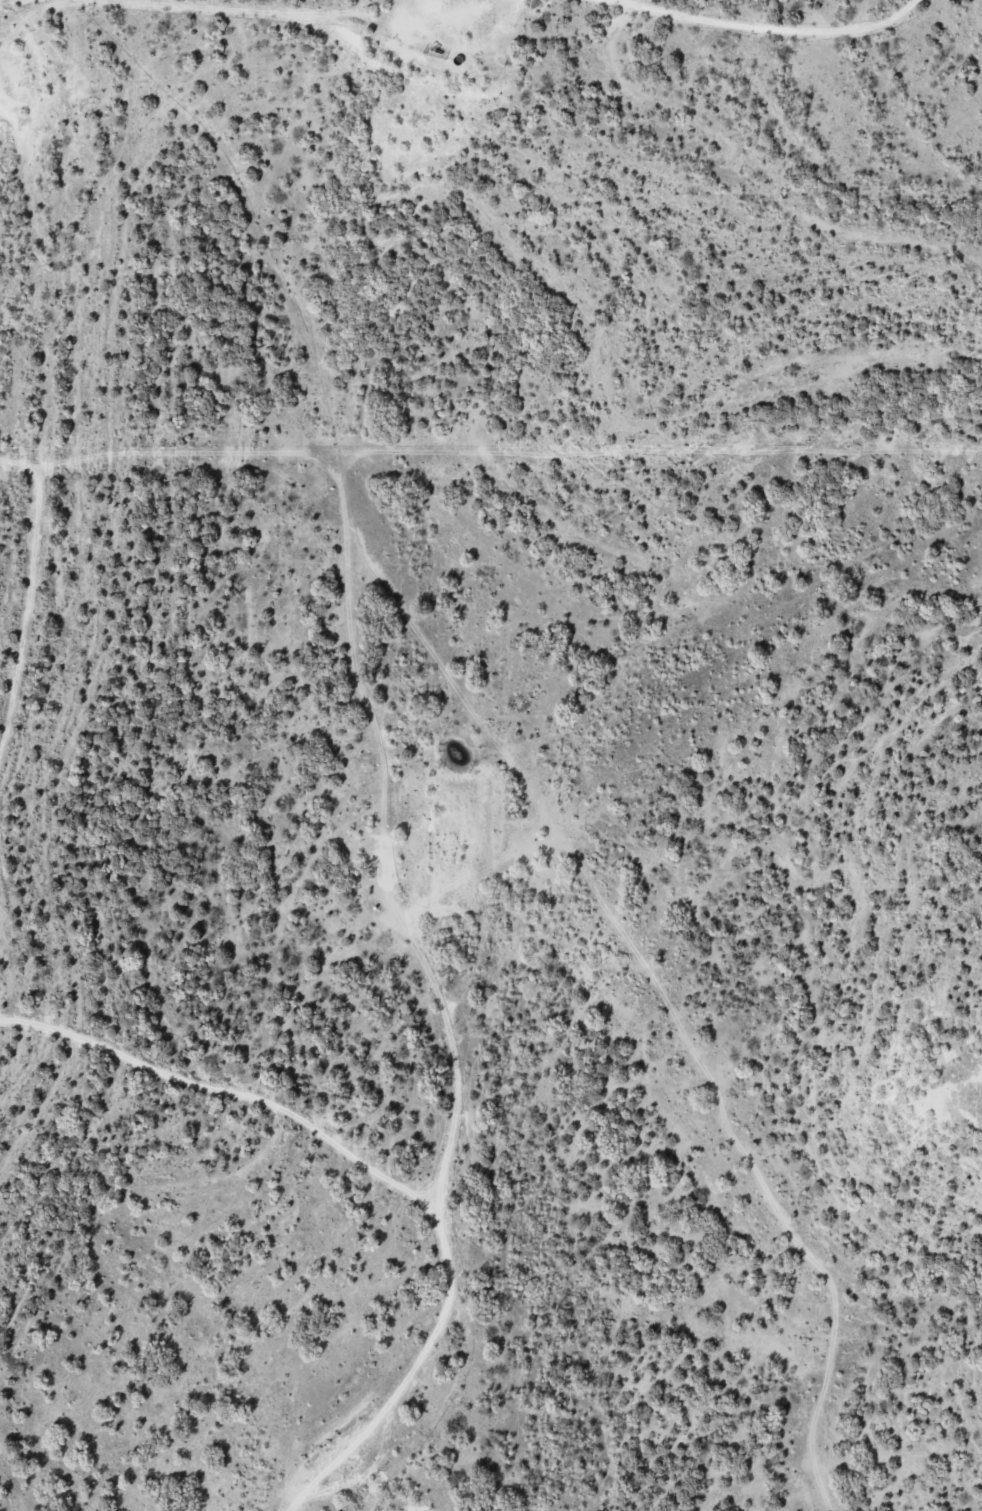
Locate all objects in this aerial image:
road: (752, 31)

